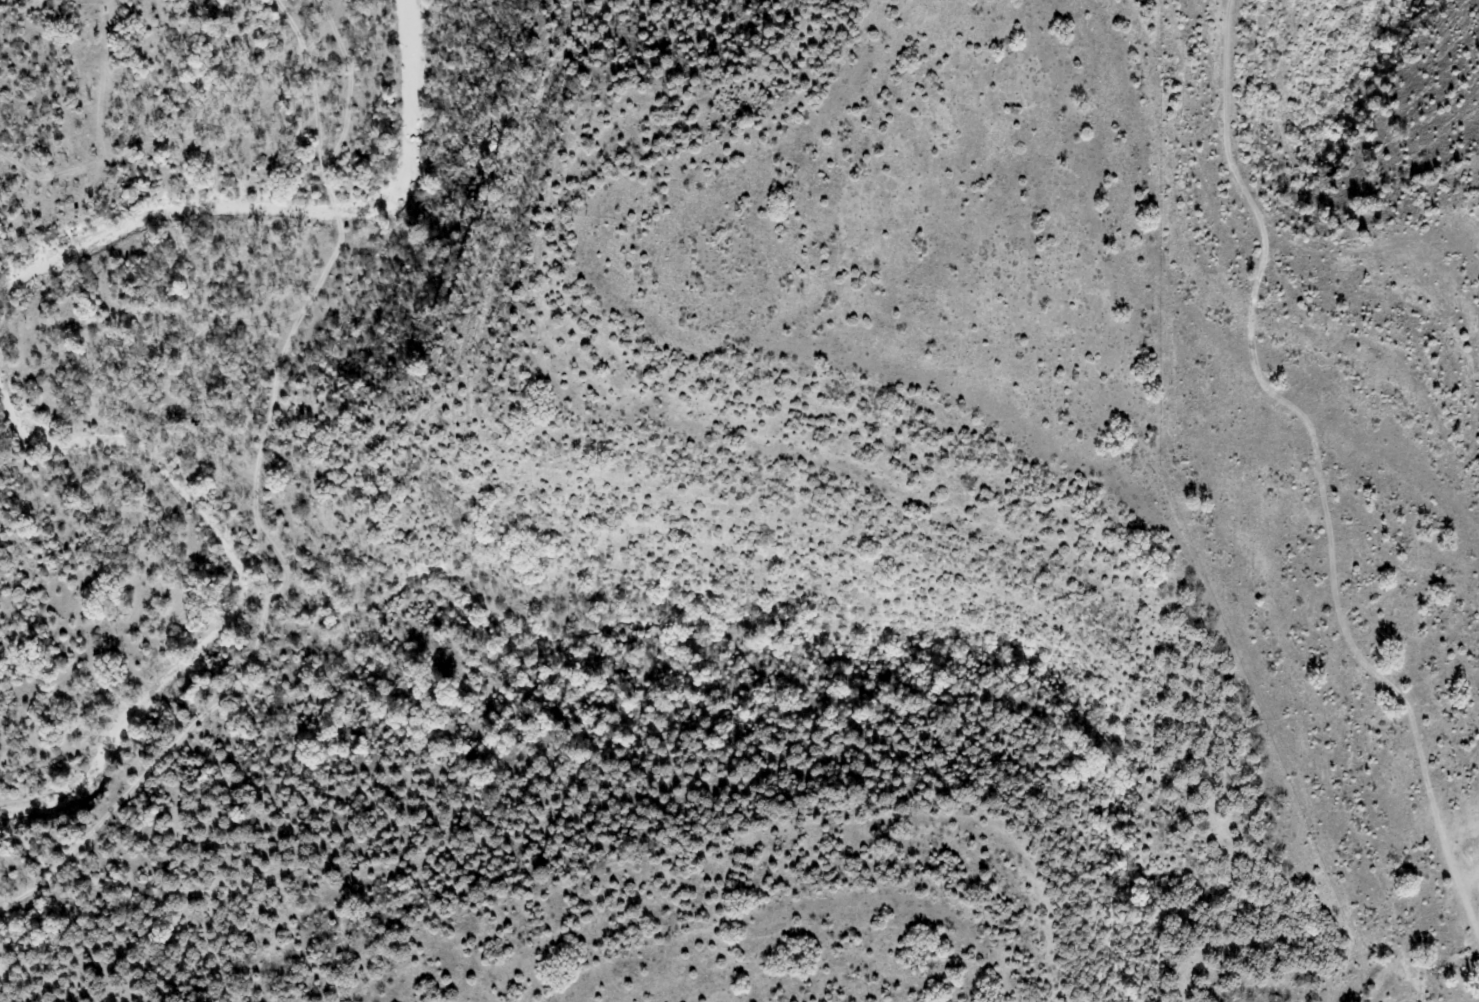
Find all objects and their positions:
road: (261, 501)

